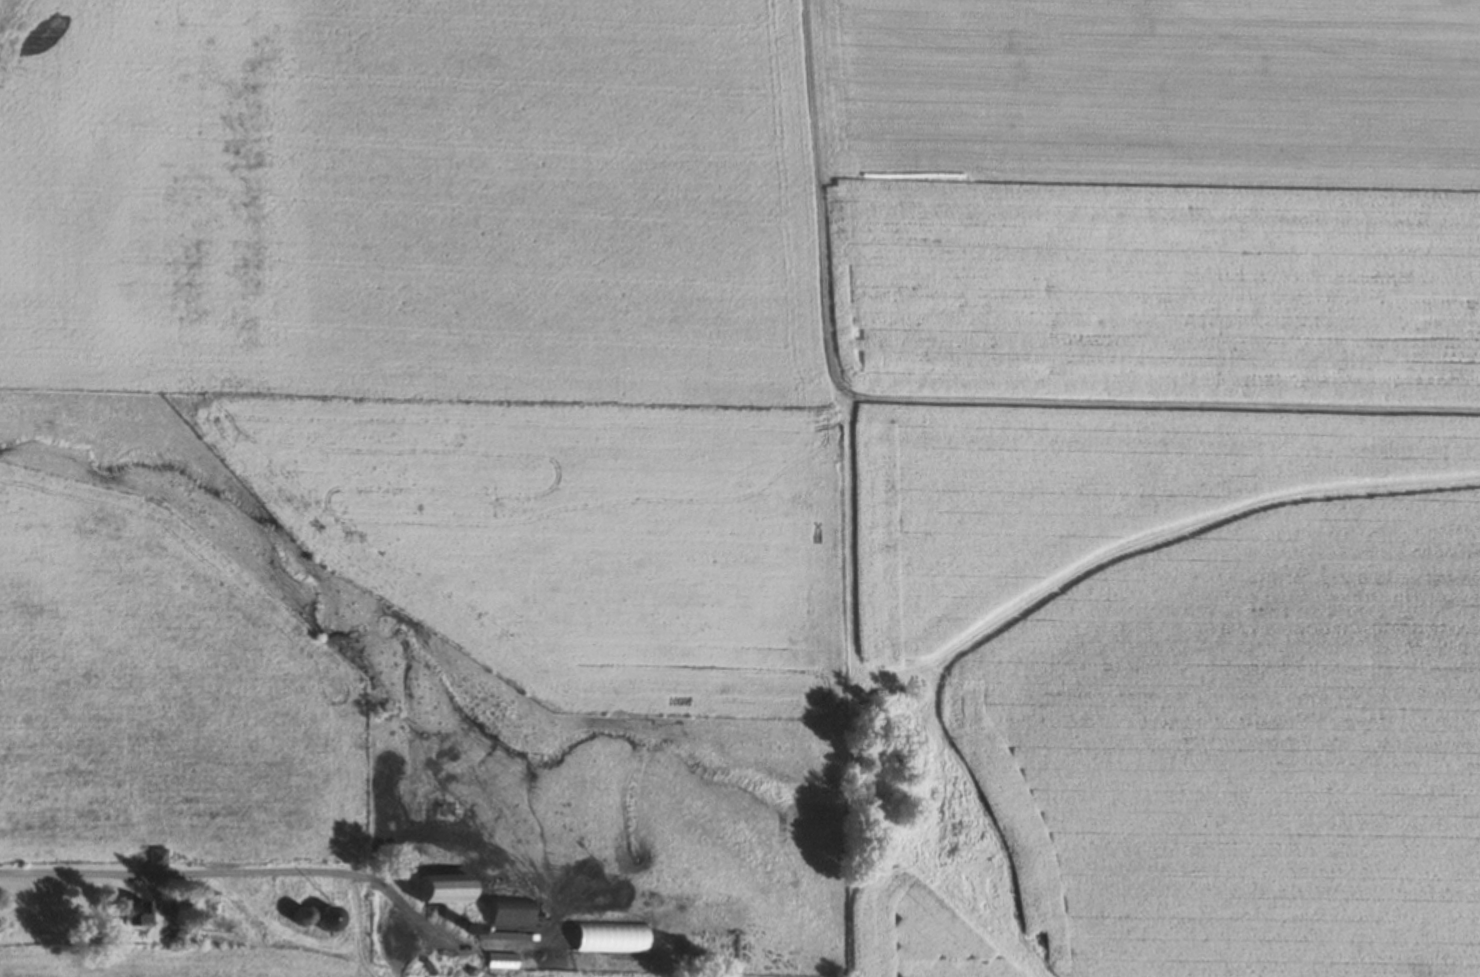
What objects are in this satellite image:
road: (967, 397)
building: (449, 805)
building: (157, 854)
road: (247, 870)
building: (445, 881)
building: (136, 908)
building: (504, 909)
building: (305, 913)
building: (332, 917)
road: (356, 924)
building: (502, 957)

